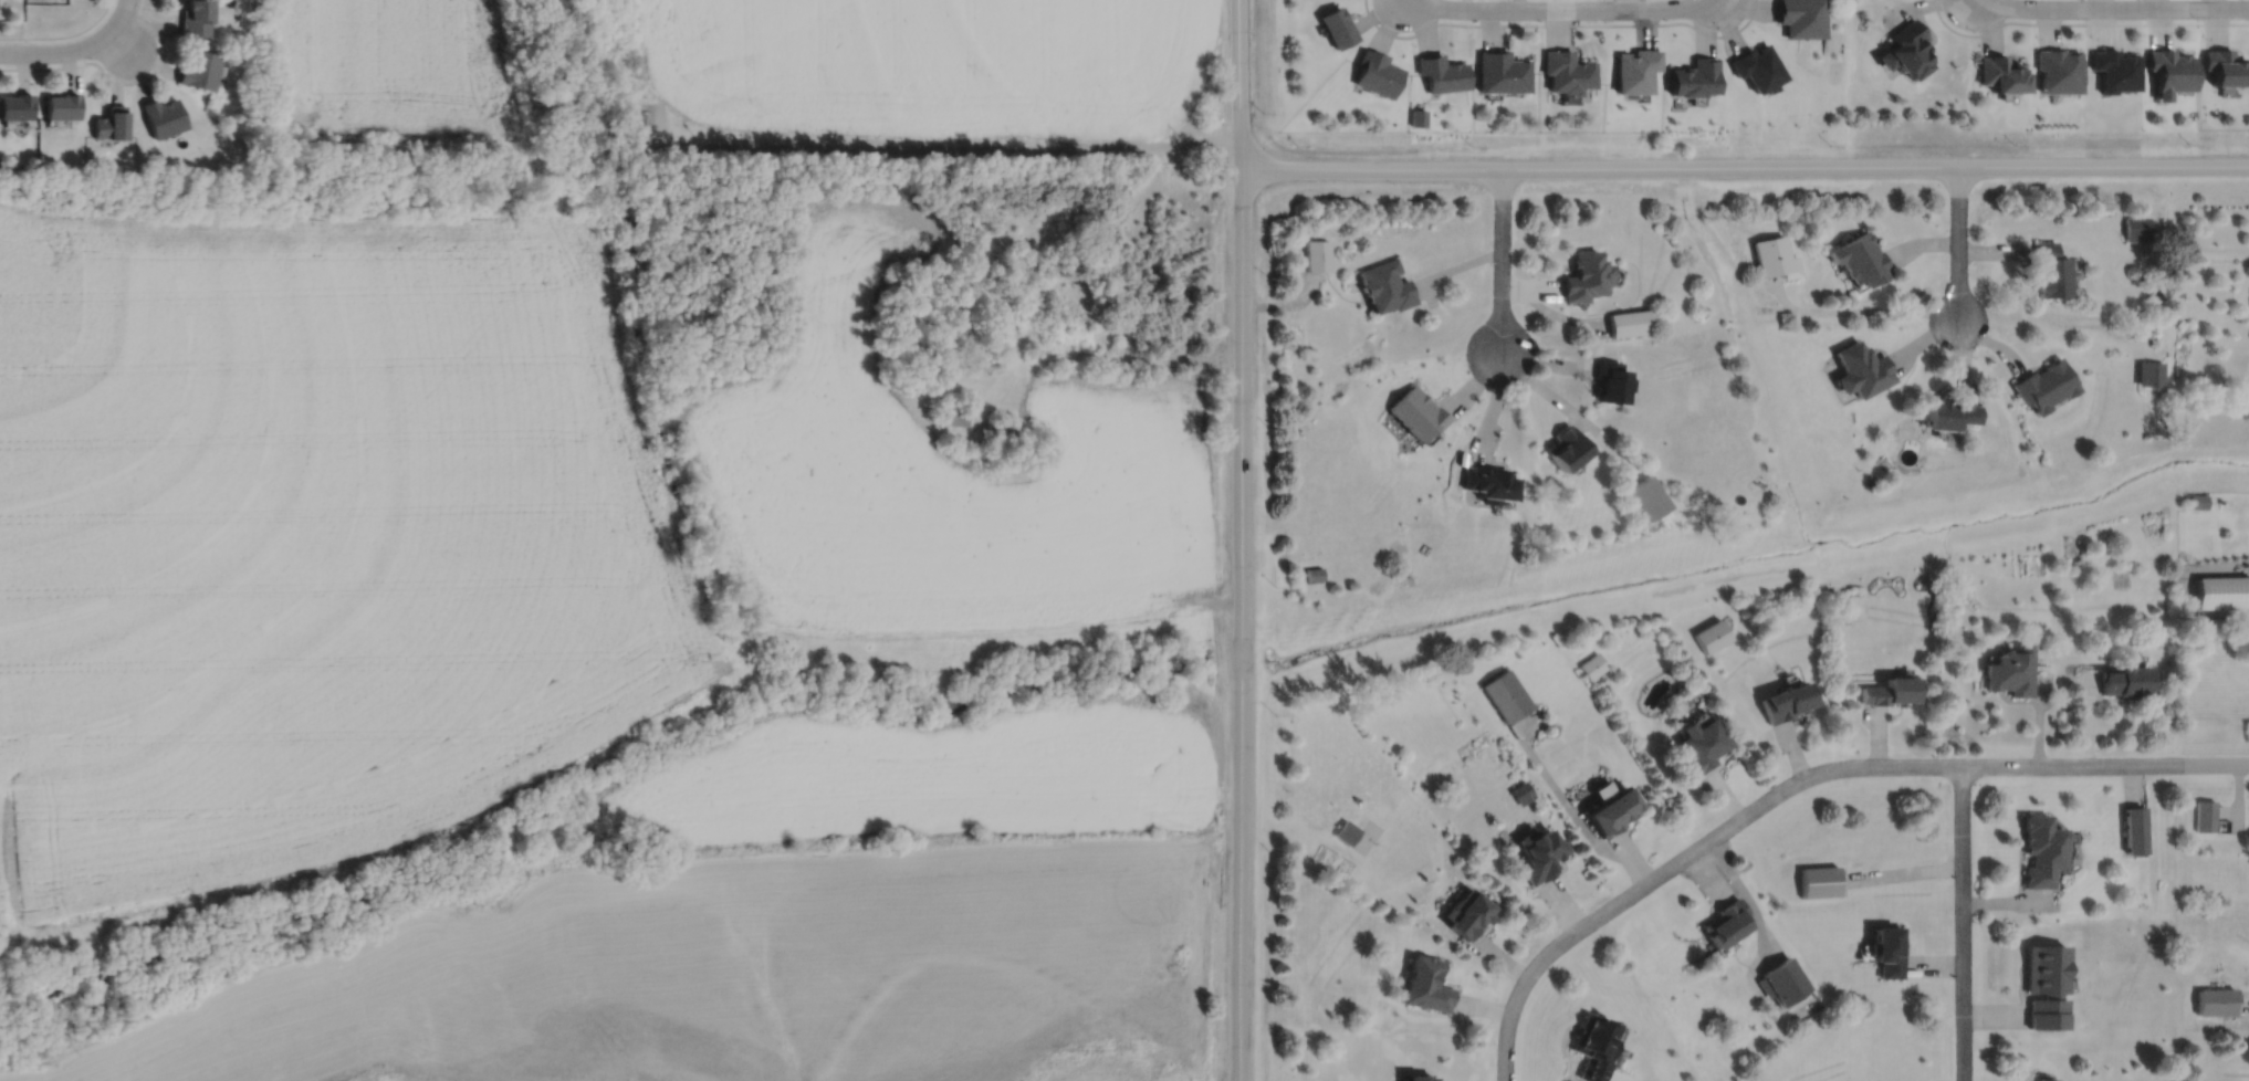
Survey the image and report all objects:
road: (1963, 2)
road: (1393, 3)
road: (1727, 3)
road: (123, 4)
road: (1560, 8)
road: (2105, 8)
building: (195, 17)
building: (1800, 18)
road: (2080, 23)
road: (1559, 24)
building: (1336, 28)
road: (62, 34)
building: (248, 38)
road: (118, 40)
road: (69, 49)
building: (1904, 51)
building: (198, 65)
crop: (385, 67)
crop: (916, 69)
building: (1756, 69)
building: (2226, 69)
building: (2113, 71)
building: (1633, 72)
building: (2057, 72)
building: (1499, 73)
building: (1566, 73)
building: (2169, 73)
building: (1377, 74)
building: (1441, 74)
building: (1998, 76)
building: (1692, 78)
road: (115, 80)
building: (14, 103)
building: (61, 103)
building: (161, 114)
building: (636, 116)
building: (109, 120)
road: (928, 147)
road: (1744, 166)
building: (2137, 227)
road: (1957, 243)
building: (1317, 254)
building: (1775, 255)
building: (1860, 258)
road: (1500, 259)
building: (2051, 270)
building: (1583, 275)
building: (1385, 284)
building: (1628, 322)
road: (1086, 354)
building: (1861, 367)
building: (2151, 372)
building: (1607, 380)
building: (2044, 385)
building: (954, 410)
building: (1416, 411)
building: (1947, 413)
building: (1001, 429)
building: (1563, 448)
crop: (949, 470)
building: (1488, 482)
building: (1647, 496)
building: (2198, 501)
crop: (311, 538)
road: (1239, 539)
building: (1310, 575)
building: (2222, 592)
building: (1712, 636)
building: (1592, 665)
building: (2009, 672)
building: (2124, 682)
building: (1506, 692)
building: (1887, 693)
building: (1786, 703)
building: (1702, 746)
road: (1845, 766)
building: (1521, 789)
building: (1611, 809)
building: (2204, 814)
building: (2133, 827)
building: (1346, 830)
building: (2039, 848)
building: (1539, 850)
building: (2214, 874)
building: (1818, 879)
building: (1466, 910)
building: (1724, 920)
road: (1962, 922)
building: (1886, 947)
building: (1781, 979)
building: (1425, 983)
building: (2043, 983)
building: (2214, 999)
road: (1506, 1035)
building: (1591, 1045)
building: (1418, 1077)
building: (2042, 1078)

